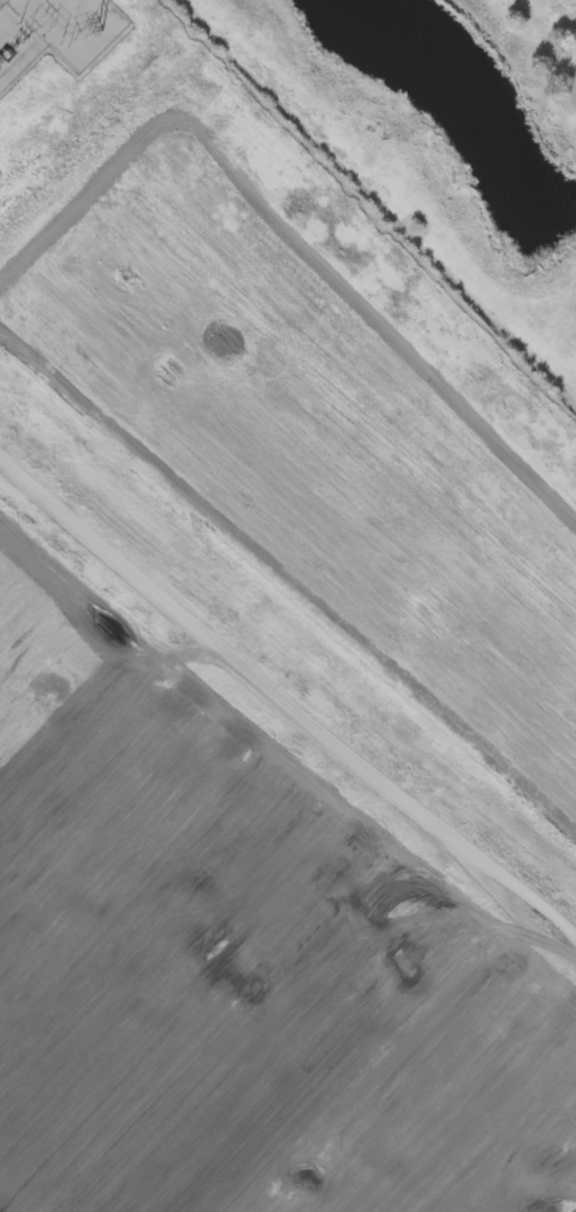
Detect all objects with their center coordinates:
wastewater plant: (287, 605)
road: (286, 709)

